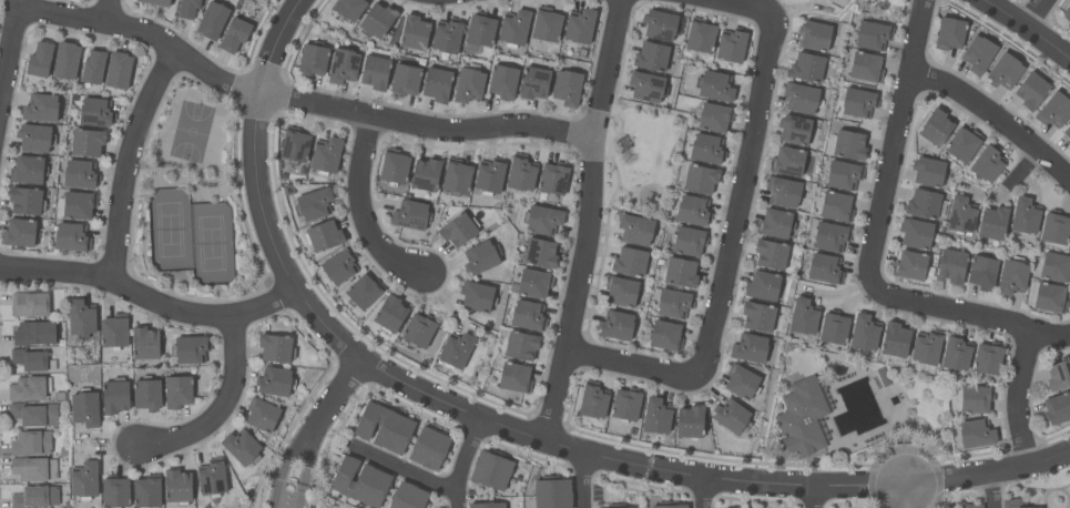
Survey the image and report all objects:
building: (156, 2)
road: (738, 4)
building: (349, 8)
building: (187, 9)
road: (108, 10)
building: (1067, 12)
road: (1040, 14)
building: (212, 20)
building: (377, 21)
building: (547, 24)
building: (660, 24)
building: (580, 26)
road: (1026, 27)
building: (514, 29)
building: (480, 30)
building: (414, 33)
building: (949, 33)
building: (234, 35)
building: (700, 35)
building: (814, 35)
building: (873, 35)
building: (447, 37)
road: (921, 37)
road: (9, 44)
building: (731, 45)
building: (471, 50)
building: (582, 51)
building: (978, 54)
building: (651, 57)
building: (313, 59)
building: (40, 60)
building: (67, 60)
building: (343, 65)
building: (93, 67)
building: (806, 68)
building: (866, 68)
building: (118, 70)
building: (1005, 71)
building: (376, 72)
building: (405, 80)
building: (502, 82)
building: (468, 83)
building: (534, 83)
road: (263, 84)
building: (437, 84)
building: (645, 87)
building: (715, 87)
building: (567, 88)
building: (1031, 91)
building: (801, 98)
road: (297, 101)
building: (858, 103)
building: (41, 108)
building: (1053, 110)
building: (95, 112)
building: (714, 118)
building: (936, 128)
building: (794, 130)
building: (1067, 132)
building: (34, 138)
building: (86, 142)
building: (962, 144)
building: (1069, 144)
building: (295, 145)
building: (849, 145)
building: (706, 149)
building: (326, 155)
road: (131, 161)
building: (787, 162)
building: (988, 164)
building: (394, 167)
building: (28, 170)
building: (303, 171)
building: (928, 172)
building: (521, 173)
building: (80, 174)
building: (426, 174)
building: (843, 175)
building: (457, 176)
building: (489, 176)
building: (553, 179)
building: (700, 179)
road: (893, 184)
building: (288, 191)
building: (783, 192)
road: (735, 193)
building: (425, 194)
building: (26, 201)
building: (314, 204)
building: (924, 204)
building: (77, 205)
building: (836, 206)
road: (360, 210)
building: (693, 211)
building: (410, 215)
building: (960, 215)
building: (1025, 216)
building: (542, 221)
road: (589, 221)
building: (992, 223)
building: (775, 224)
building: (1054, 228)
building: (458, 230)
building: (635, 230)
building: (20, 233)
building: (916, 234)
building: (323, 236)
building: (71, 237)
building: (830, 237)
building: (687, 242)
building: (540, 253)
building: (771, 254)
building: (481, 257)
building: (630, 262)
building: (910, 265)
building: (339, 266)
building: (951, 266)
building: (1054, 267)
building: (825, 268)
building: (681, 273)
building: (982, 273)
building: (1012, 276)
building: (534, 284)
building: (762, 286)
building: (364, 292)
building: (621, 292)
building: (477, 297)
road: (149, 298)
building: (1049, 298)
building: (30, 304)
building: (673, 304)
building: (389, 314)
building: (528, 315)
building: (757, 316)
building: (803, 316)
building: (81, 318)
building: (615, 325)
building: (834, 328)
building: (418, 331)
building: (114, 332)
building: (864, 333)
building: (35, 334)
building: (665, 336)
building: (895, 341)
building: (145, 343)
building: (521, 345)
building: (926, 347)
building: (276, 348)
building: (750, 348)
building: (190, 349)
building: (456, 350)
building: (956, 354)
building: (987, 358)
building: (31, 360)
road: (635, 363)
building: (1058, 376)
building: (514, 378)
building: (883, 378)
building: (275, 382)
building: (741, 382)
building: (29, 388)
building: (177, 392)
building: (146, 394)
building: (114, 396)
road: (1017, 396)
road: (333, 397)
building: (975, 399)
building: (593, 400)
building: (625, 405)
building: (84, 408)
road: (221, 408)
building: (1057, 408)
building: (33, 414)
building: (261, 415)
building: (656, 416)
building: (731, 416)
building: (802, 418)
building: (690, 421)
building: (384, 427)
building: (976, 434)
building: (30, 444)
building: (242, 447)
building: (429, 448)
road: (601, 455)
road: (466, 461)
building: (33, 469)
building: (491, 469)
road: (285, 470)
road: (297, 473)
road: (412, 473)
building: (211, 478)
road: (588, 479)
building: (84, 480)
building: (360, 482)
building: (177, 487)
road: (990, 490)
building: (115, 491)
building: (146, 491)
building: (552, 492)
road: (704, 492)
road: (894, 496)
road: (915, 496)
building: (34, 497)
building: (408, 497)
road: (813, 497)
building: (1011, 504)
building: (487, 505)
building: (669, 505)
building: (615, 506)
building: (972, 506)
building: (628, 507)
building: (1035, 507)

